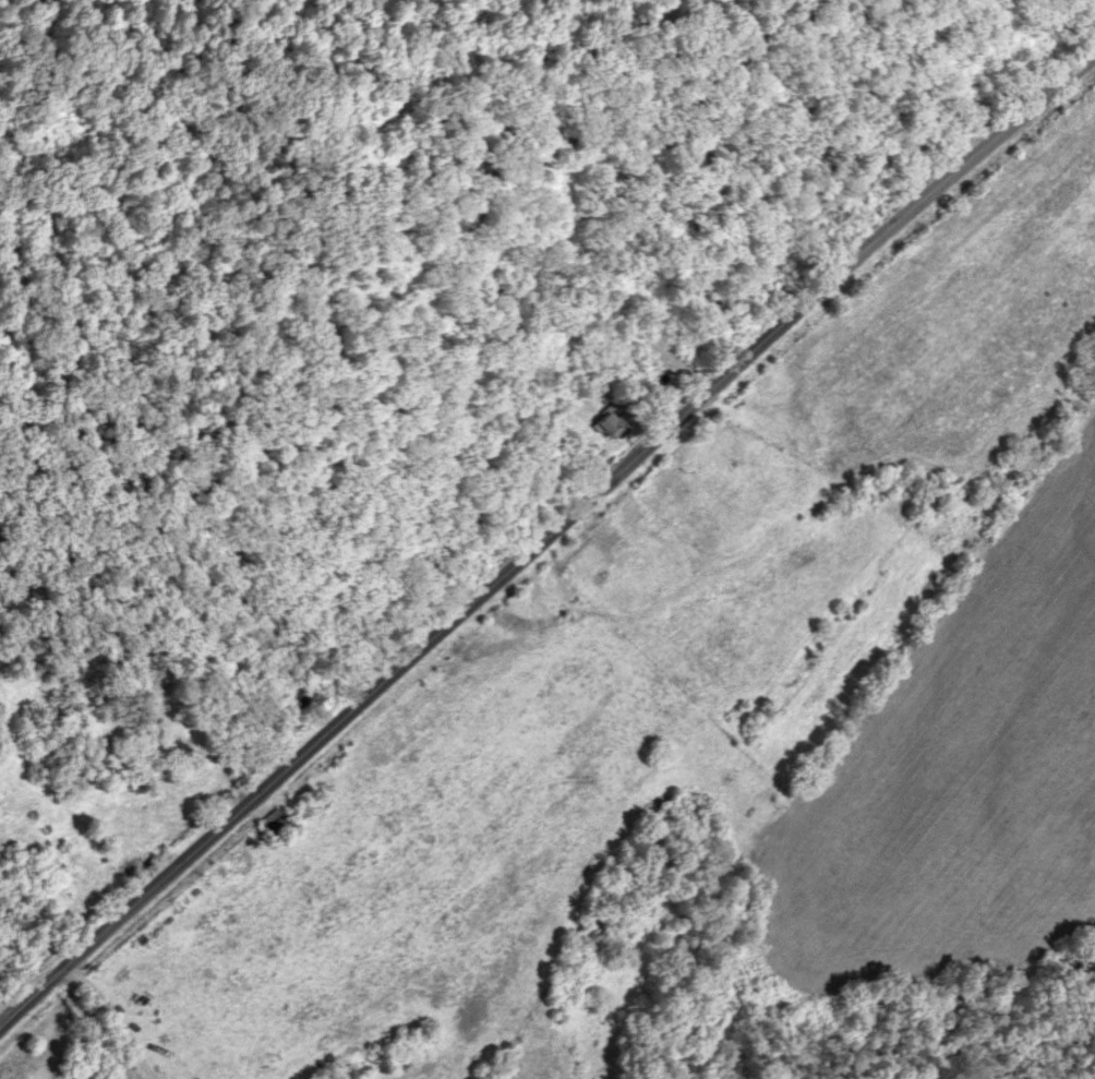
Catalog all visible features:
building: (599, 424)
road: (541, 530)
building: (267, 819)
road: (94, 1022)

